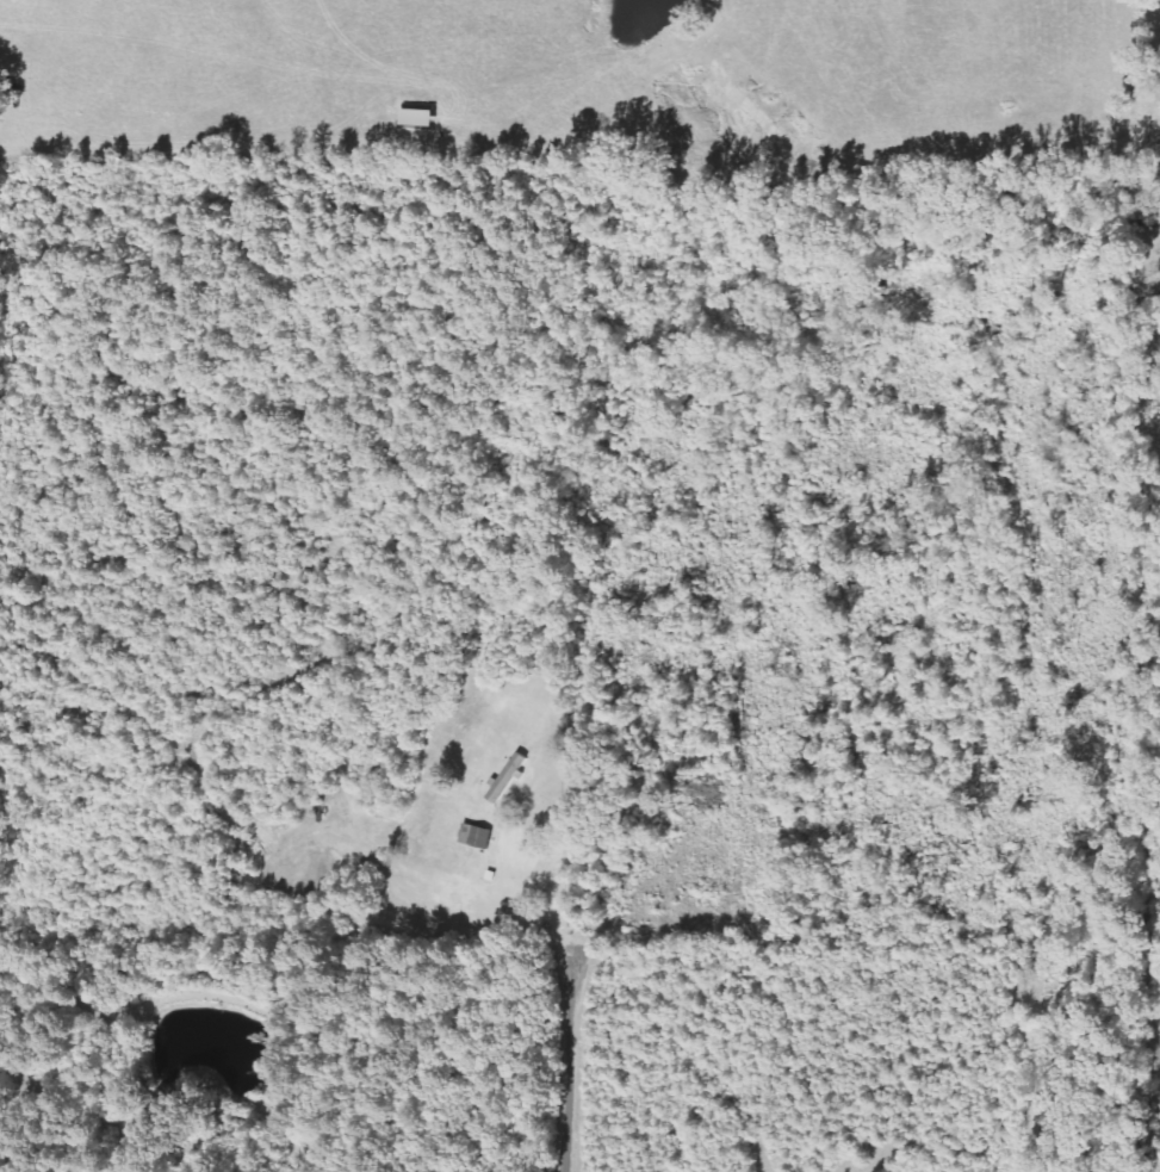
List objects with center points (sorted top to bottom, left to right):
building: (508, 779)
building: (477, 837)
road: (563, 1060)

